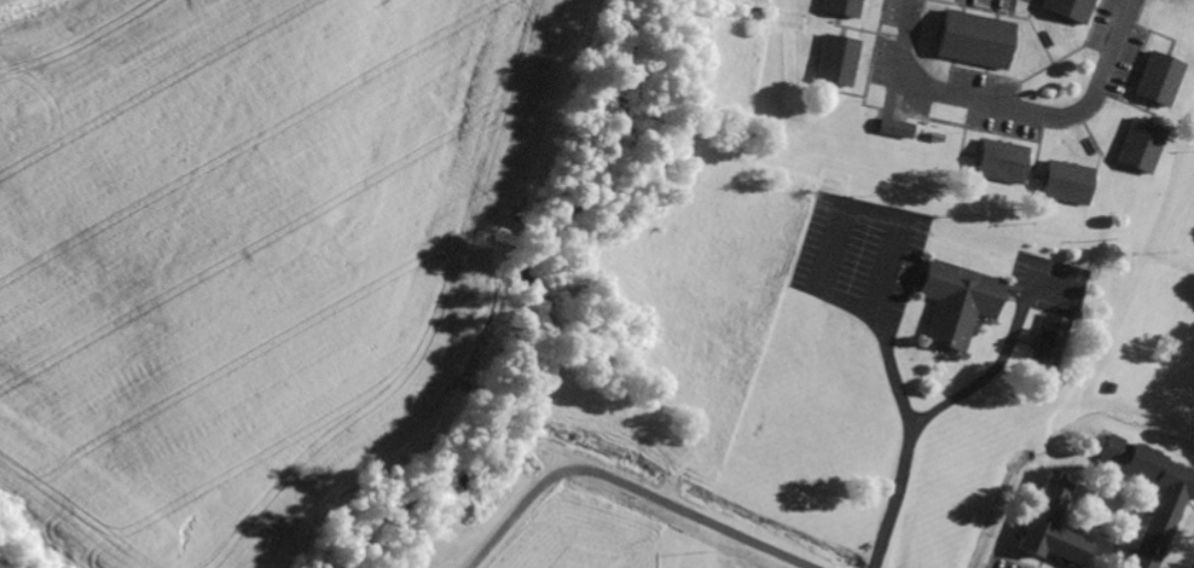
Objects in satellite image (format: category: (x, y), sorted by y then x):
building: (840, 7)
building: (1066, 10)
building: (970, 40)
building: (834, 62)
building: (1155, 80)
road: (1015, 110)
building: (891, 129)
building: (1136, 147)
building: (996, 162)
building: (1062, 184)
building: (954, 302)
building: (1044, 344)
road: (893, 506)
building: (1047, 527)
building: (1149, 533)

